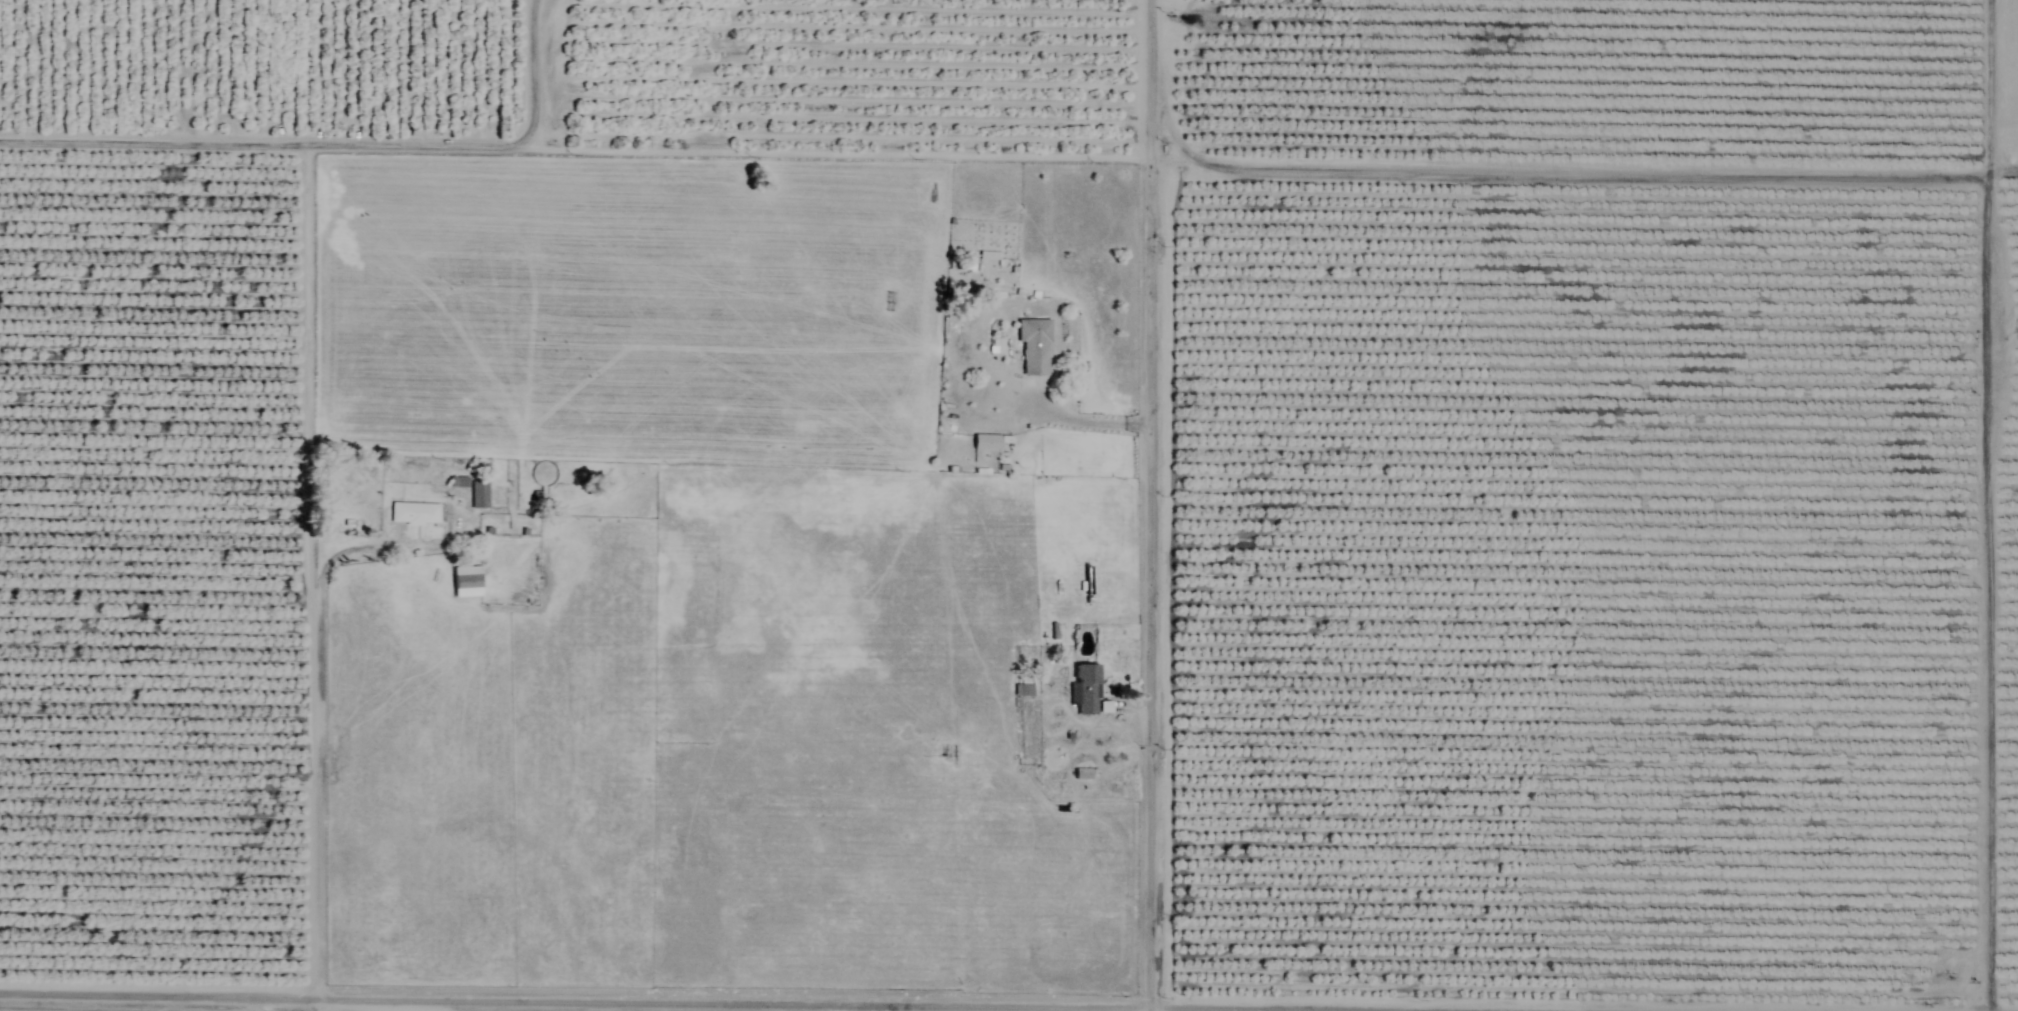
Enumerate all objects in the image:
road: (536, 75)
road: (266, 143)
building: (969, 265)
building: (1033, 349)
building: (987, 442)
building: (328, 493)
building: (479, 495)
road: (1150, 505)
building: (415, 514)
crop: (1590, 575)
building: (466, 583)
building: (1085, 689)
road: (320, 712)
road: (759, 998)

